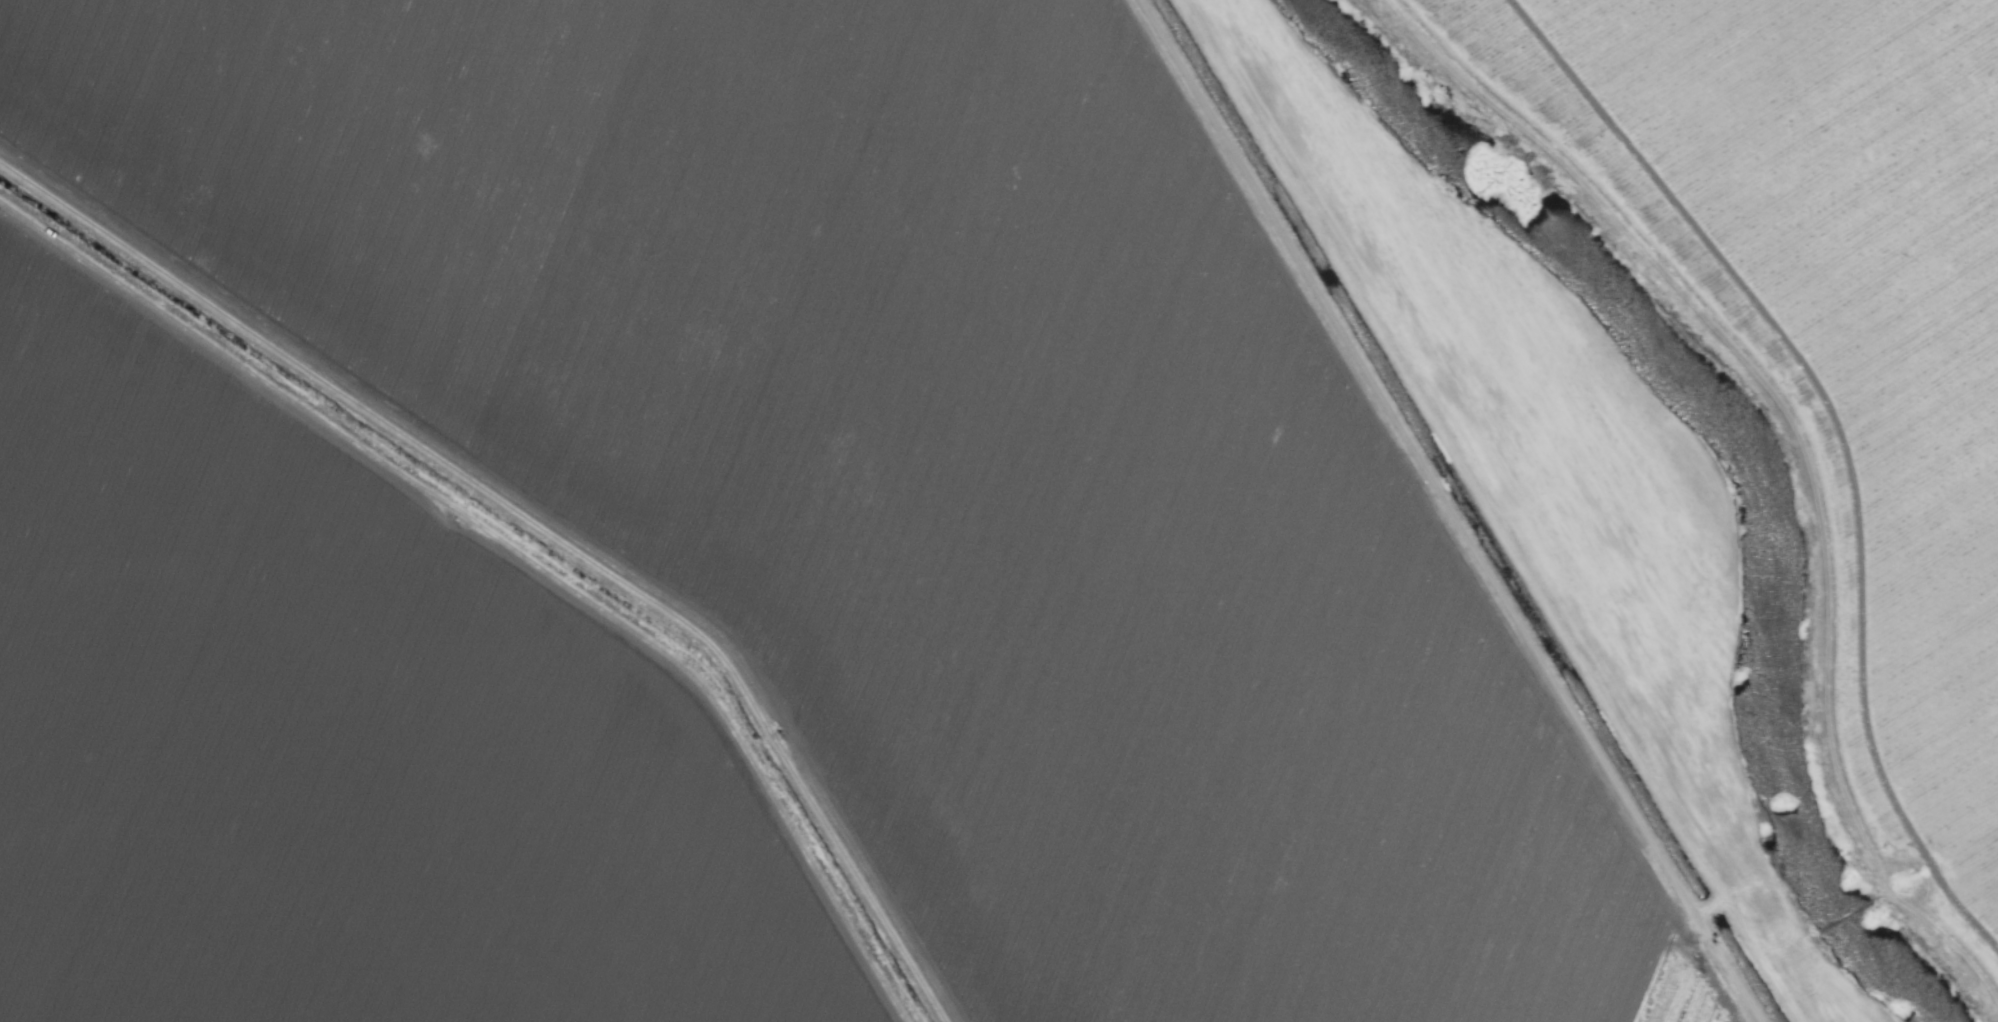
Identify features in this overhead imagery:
crop: (999, 511)

